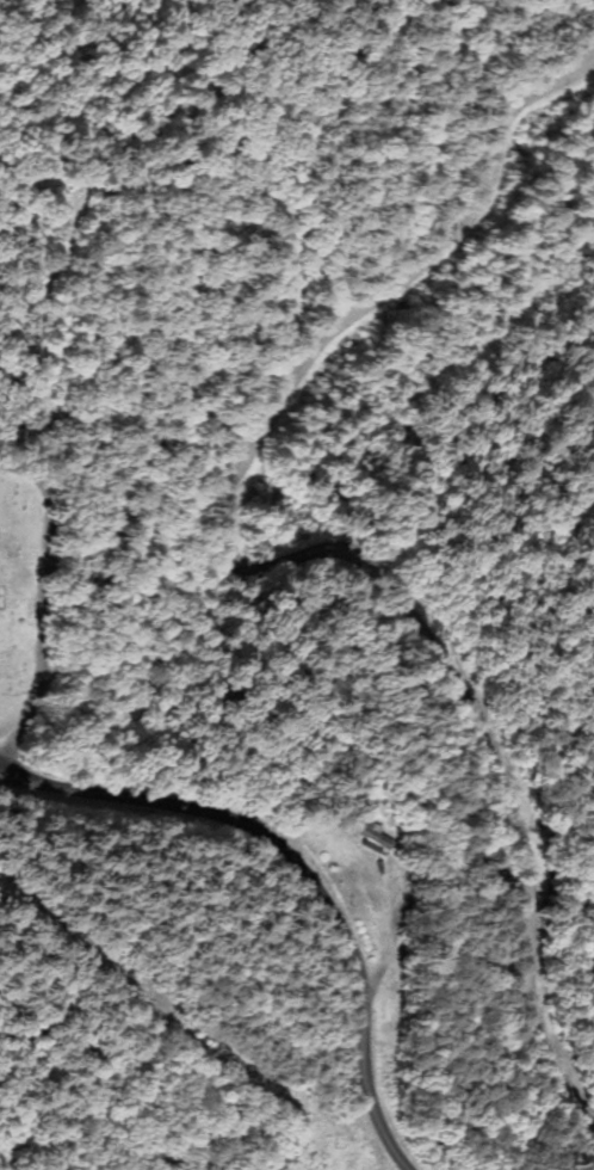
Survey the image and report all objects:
road: (286, 538)
park: (24, 602)
road: (301, 866)

